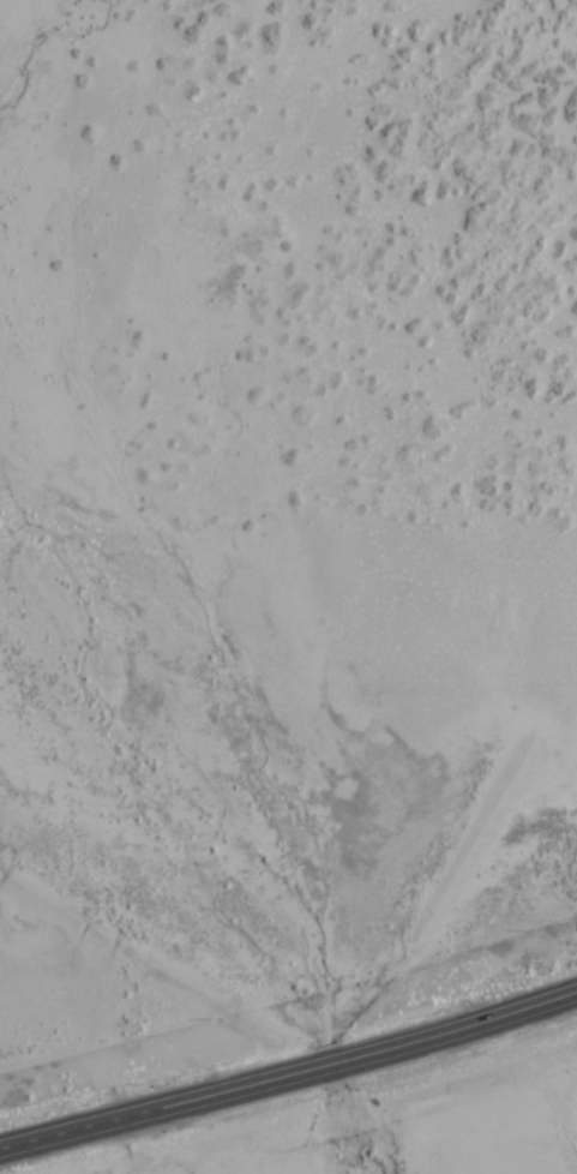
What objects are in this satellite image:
road: (291, 780)
road: (289, 1073)

